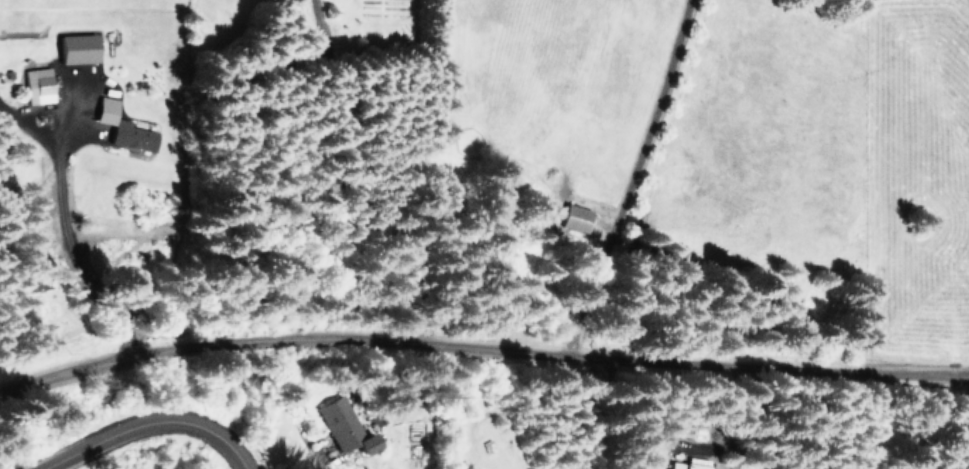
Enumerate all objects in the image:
building: (74, 46)
building: (37, 84)
building: (104, 108)
building: (130, 134)
road: (621, 174)
building: (573, 216)
road: (481, 347)
road: (146, 423)
building: (343, 425)
building: (688, 463)

